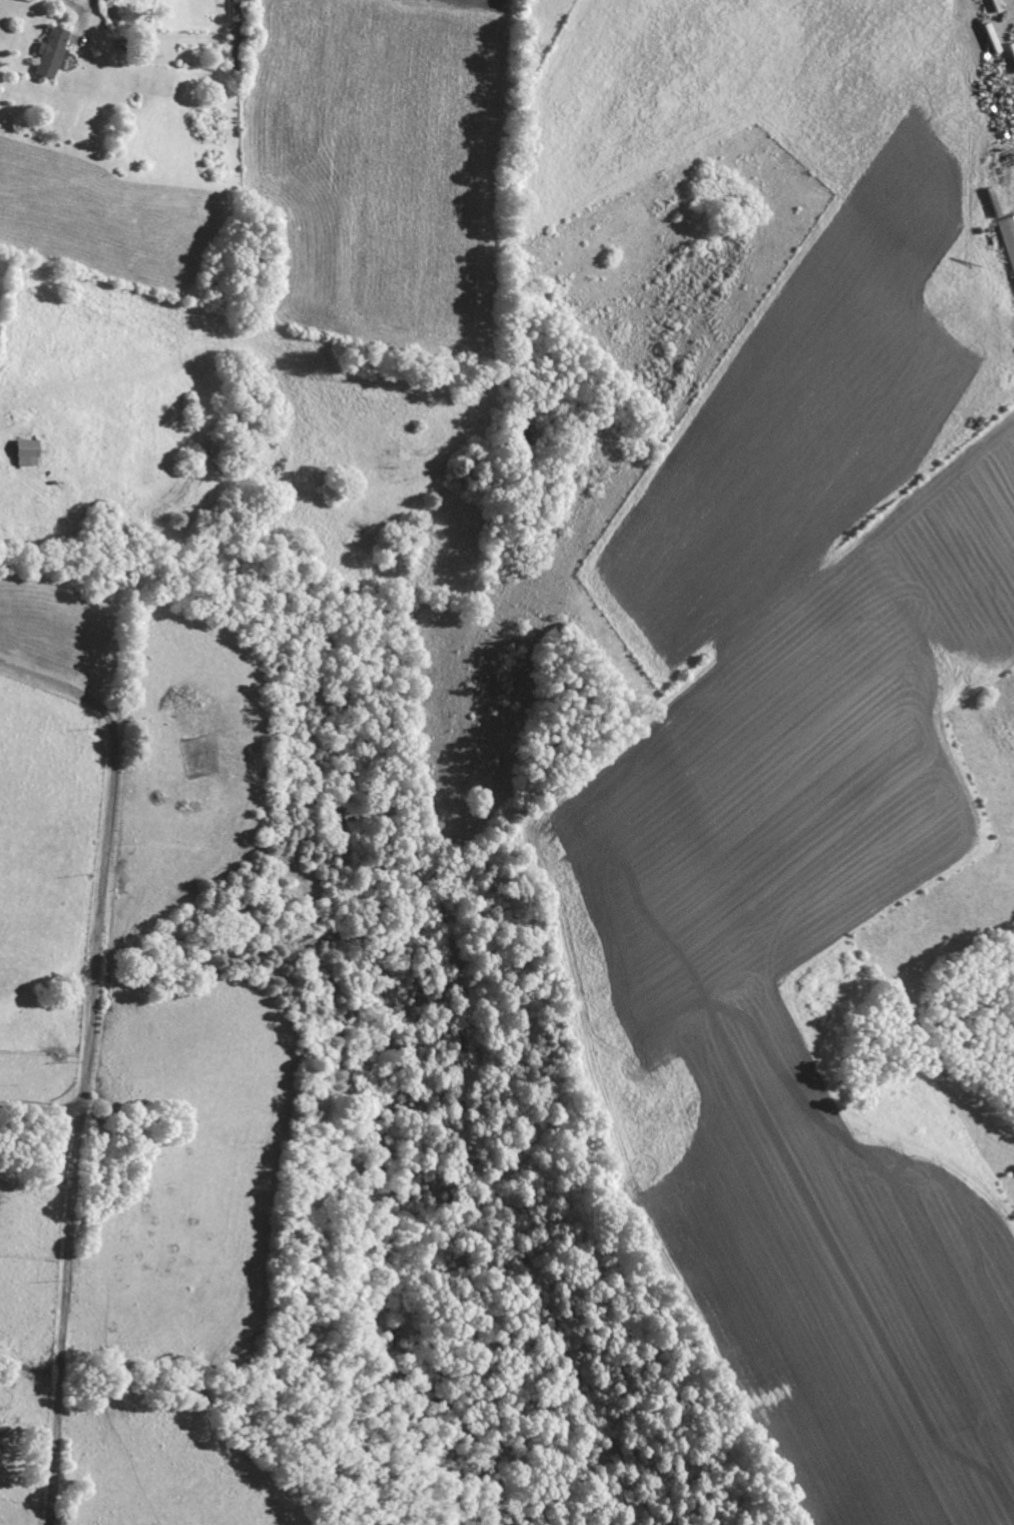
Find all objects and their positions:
road: (79, 17)
building: (53, 52)
building: (1008, 239)
building: (29, 453)
road: (88, 1057)
road: (40, 1103)

